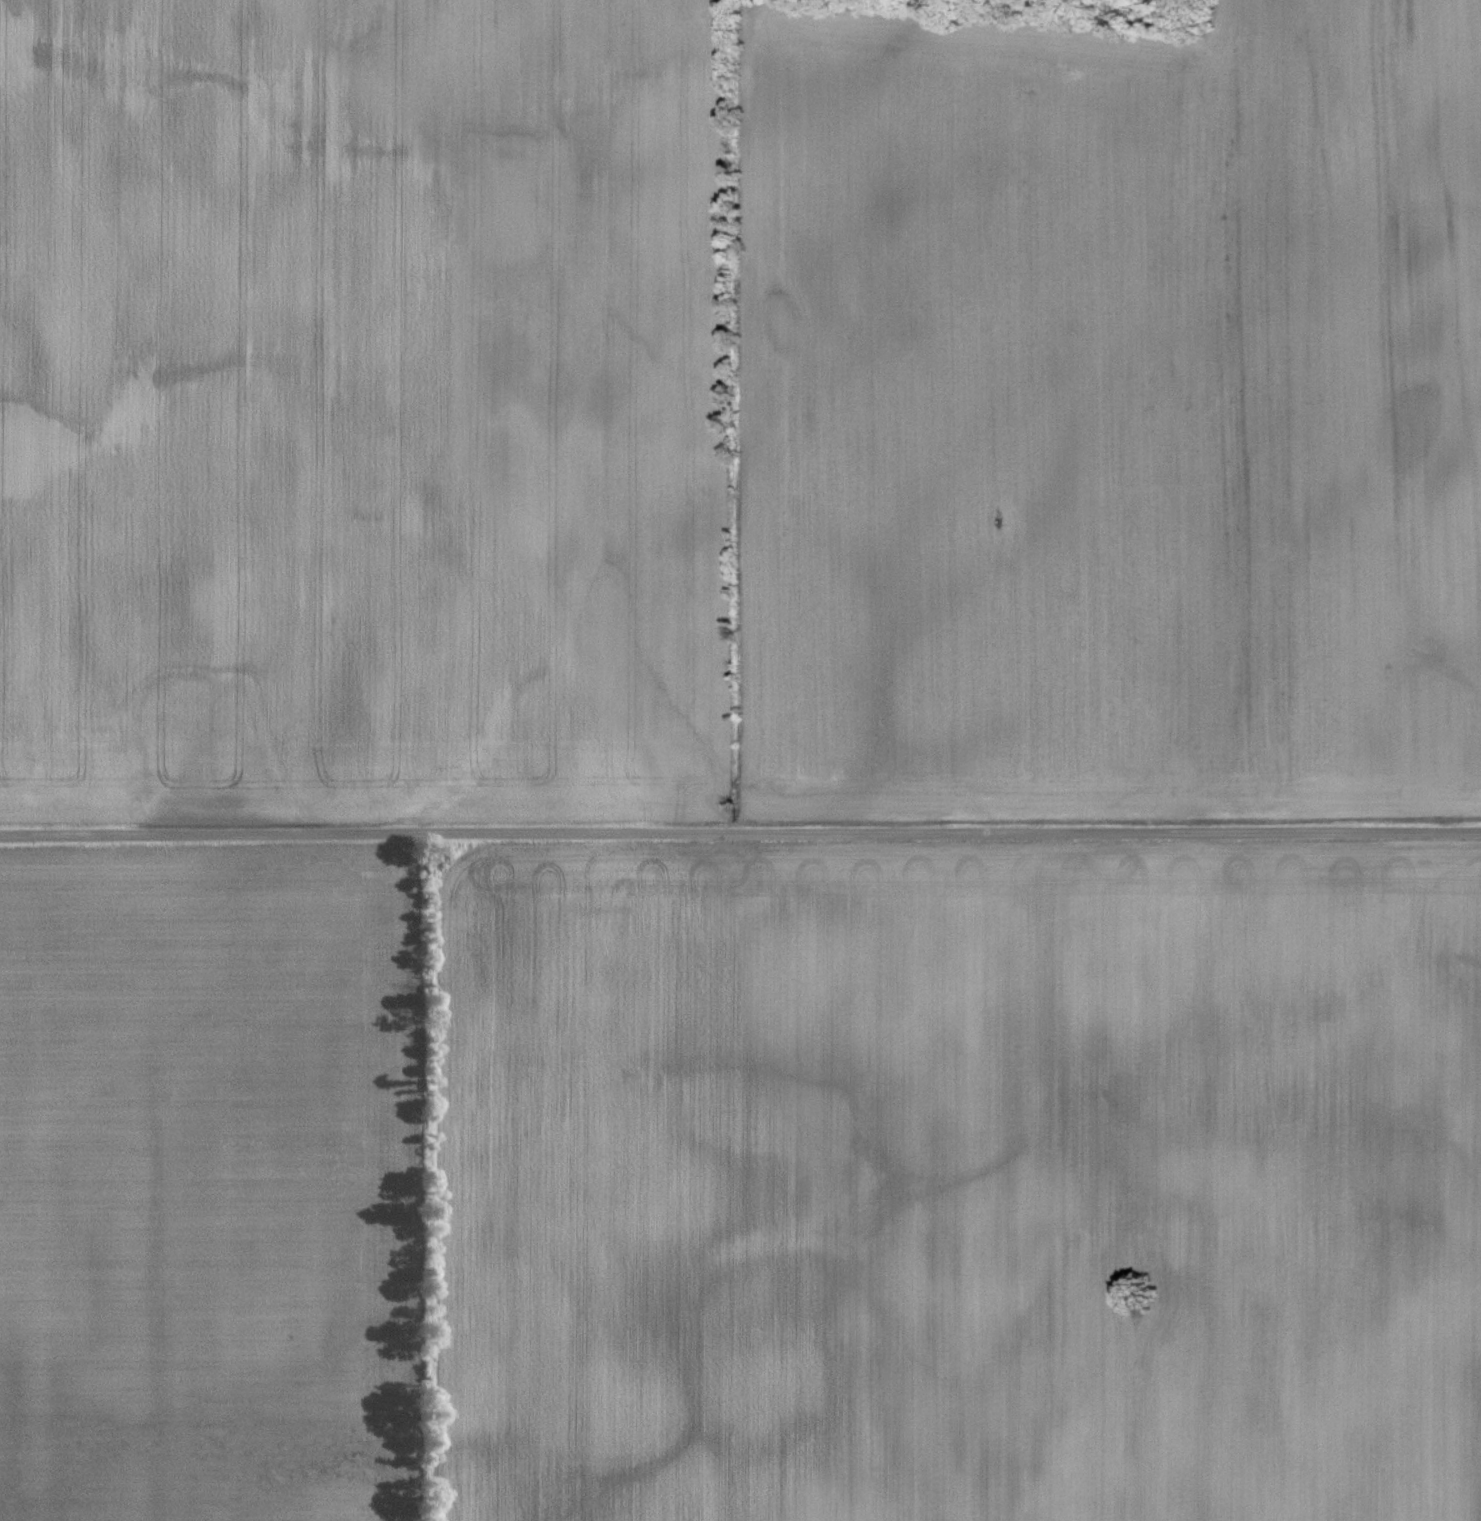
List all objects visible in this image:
road: (740, 832)

